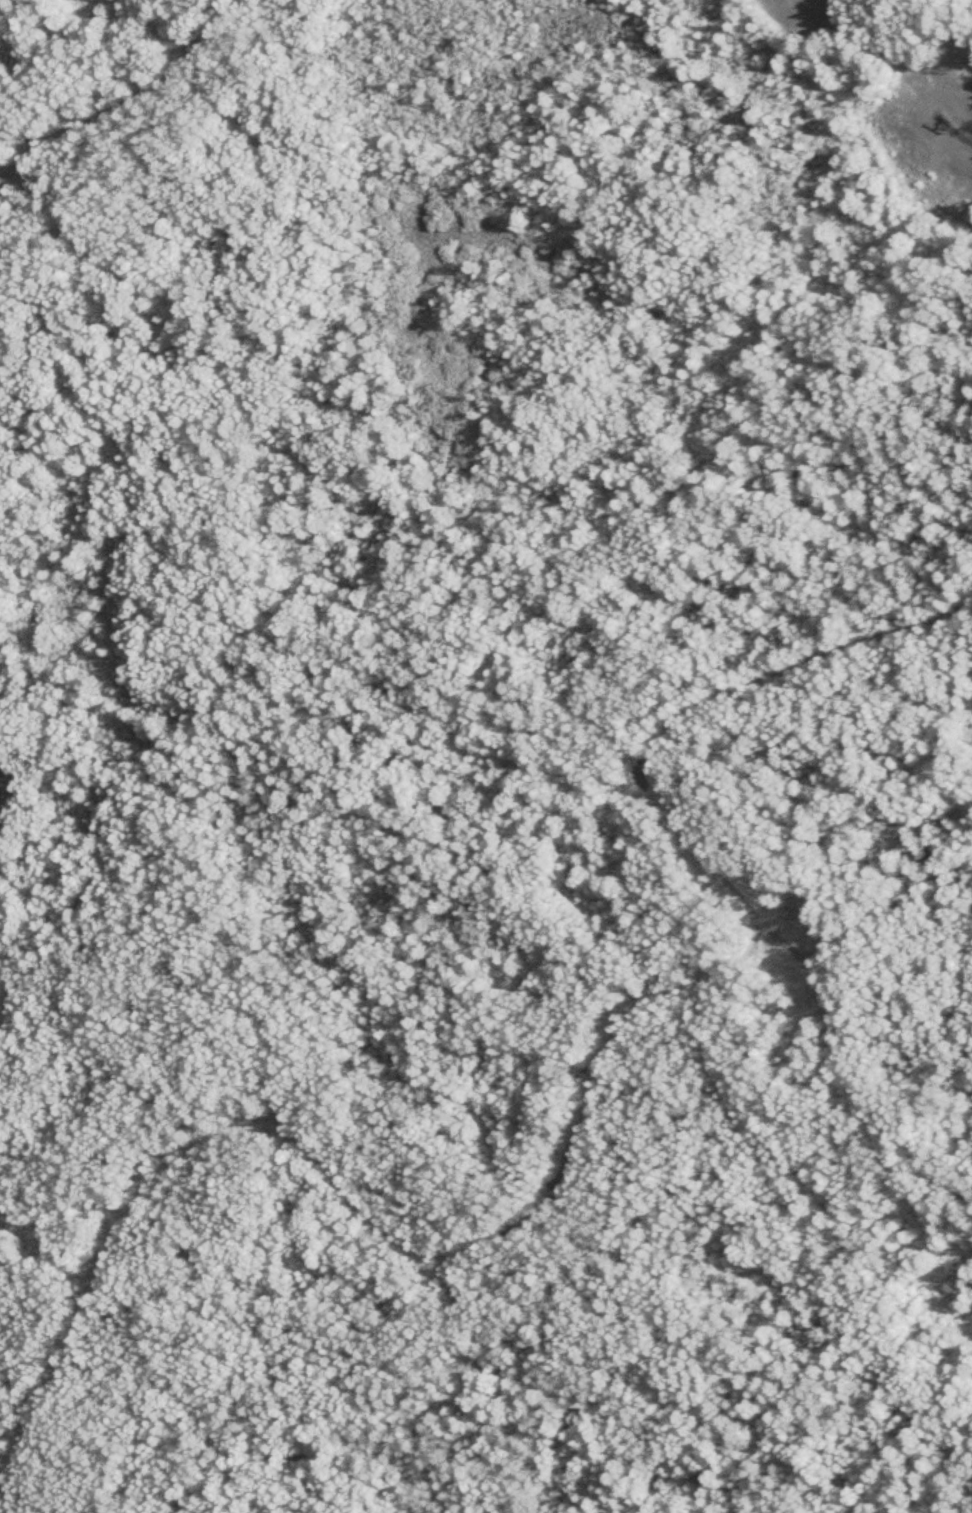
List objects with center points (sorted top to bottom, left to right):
road: (888, 80)
road: (126, 91)
petroleum well: (948, 123)
road: (701, 718)

